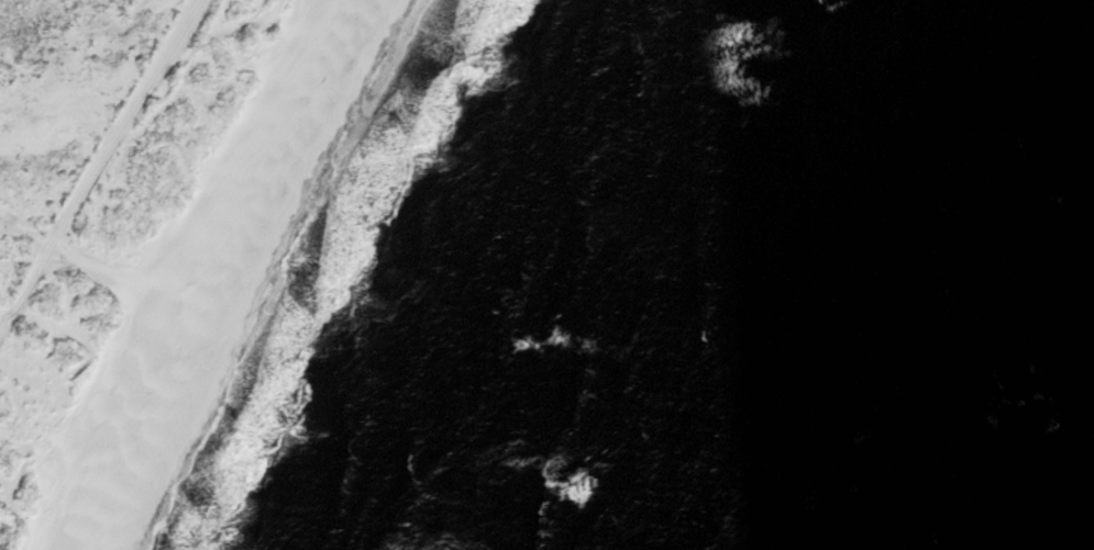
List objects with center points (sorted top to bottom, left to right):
road: (97, 167)
road: (13, 306)

